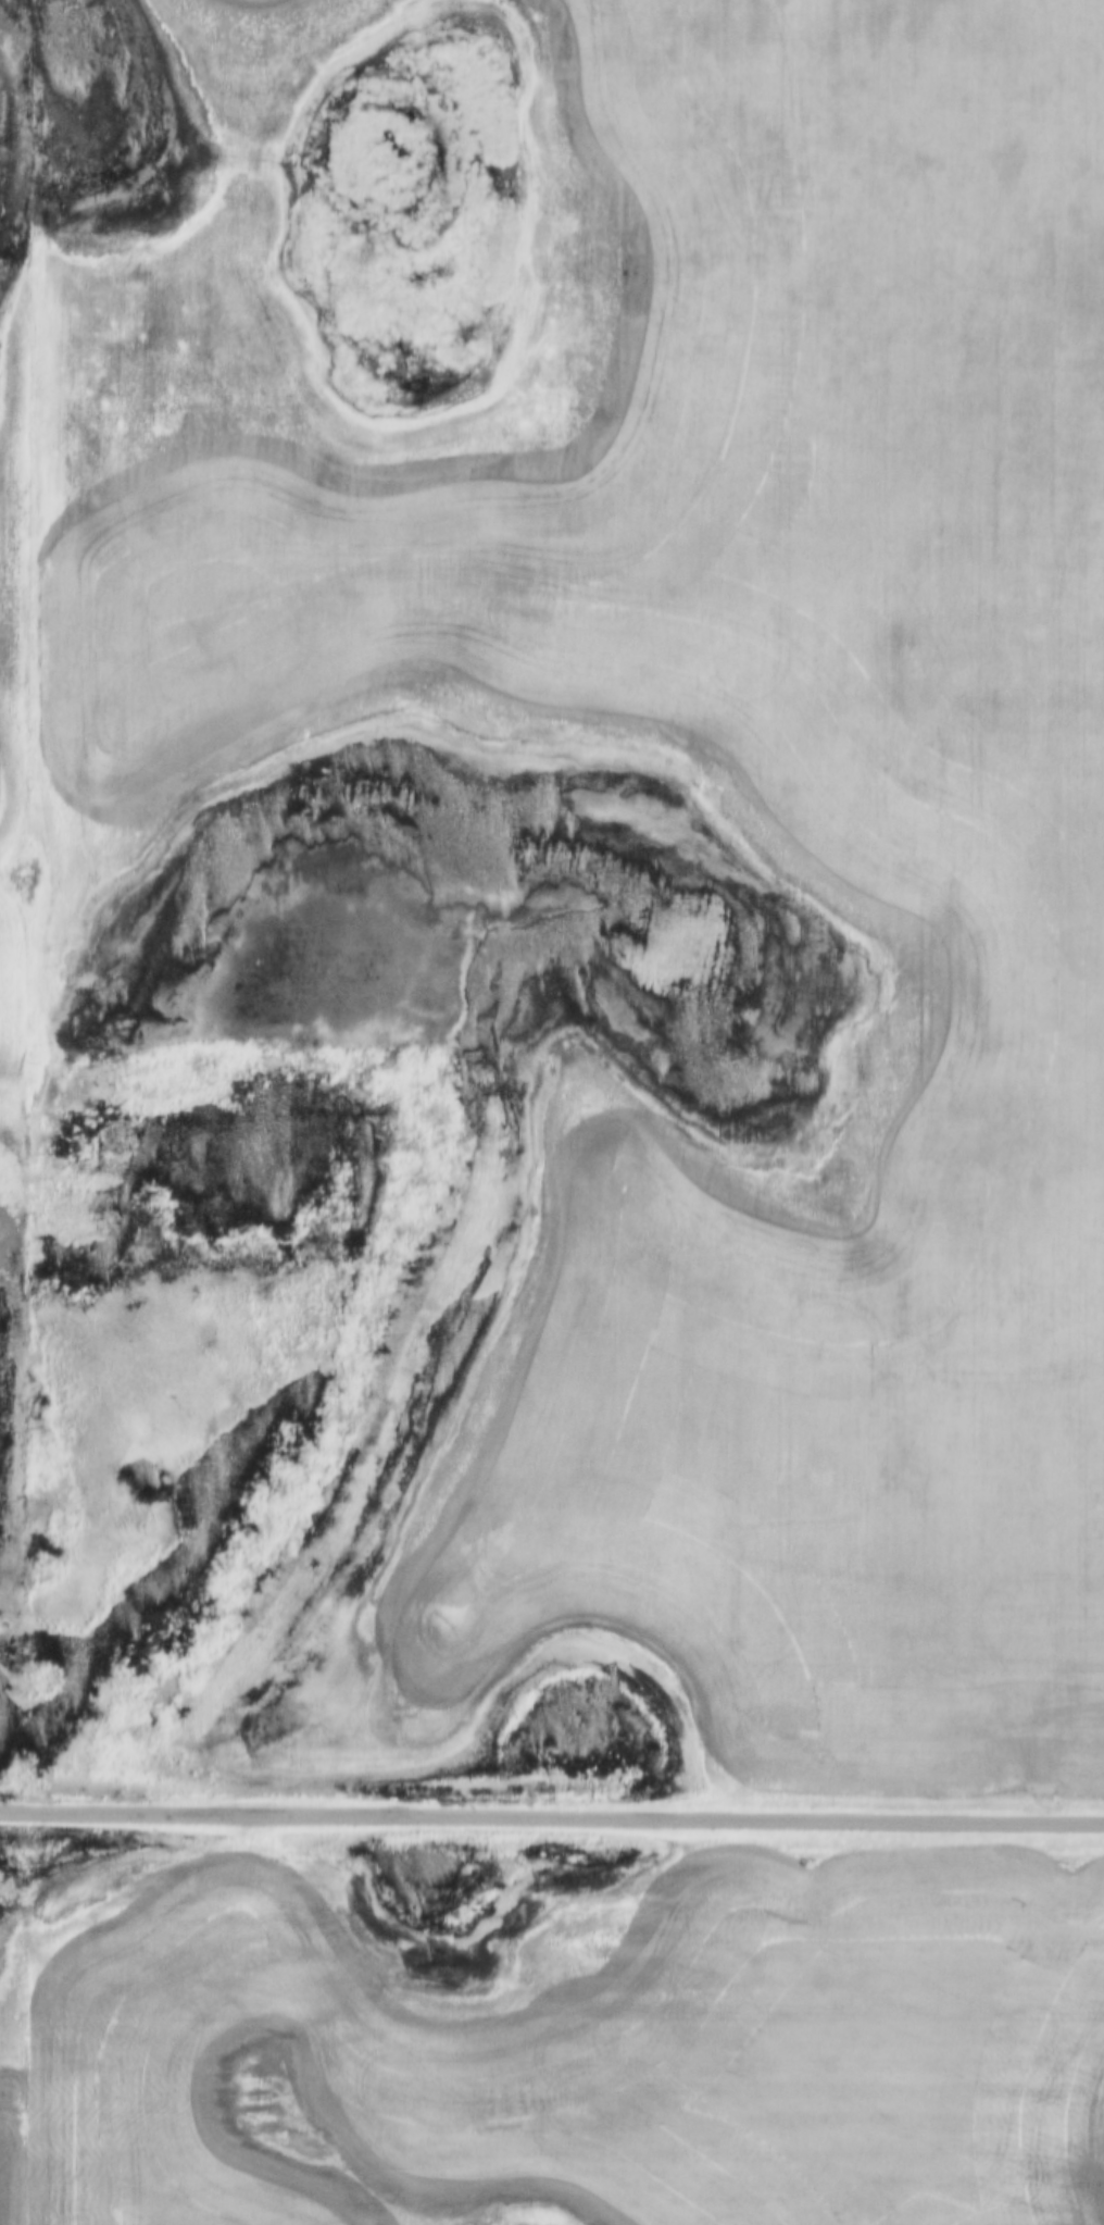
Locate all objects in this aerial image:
road: (552, 1818)

